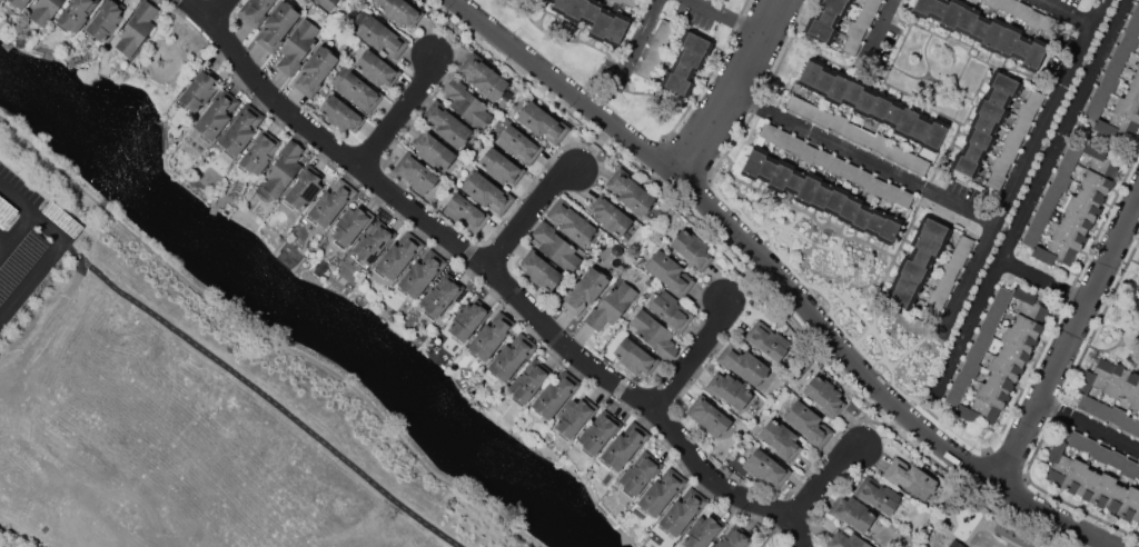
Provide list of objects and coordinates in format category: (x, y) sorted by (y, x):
building: (849, 0)
building: (983, 0)
building: (552, 1)
building: (616, 1)
building: (631, 2)
building: (327, 3)
building: (992, 3)
building: (18, 4)
road: (892, 4)
building: (1008, 4)
building: (561, 6)
building: (834, 6)
building: (871, 6)
building: (922, 7)
building: (938, 9)
building: (44, 10)
road: (219, 10)
building: (575, 10)
building: (1021, 10)
building: (255, 11)
building: (591, 11)
building: (400, 12)
building: (1136, 12)
road: (1068, 13)
building: (76, 14)
building: (952, 14)
road: (732, 17)
building: (826, 17)
building: (864, 18)
building: (1034, 19)
building: (106, 20)
building: (967, 20)
building: (602, 23)
building: (1048, 23)
building: (277, 27)
building: (1132, 27)
building: (137, 28)
building: (617, 29)
building: (980, 29)
building: (666, 30)
building: (820, 30)
building: (855, 31)
building: (993, 33)
building: (382, 37)
road: (643, 37)
building: (1007, 40)
building: (660, 42)
building: (1128, 42)
building: (696, 43)
building: (297, 47)
building: (1021, 47)
building: (1119, 54)
building: (654, 56)
building: (1033, 56)
building: (690, 58)
building: (377, 69)
building: (645, 69)
building: (1112, 69)
building: (1138, 69)
building: (315, 70)
building: (682, 70)
building: (810, 73)
building: (483, 77)
building: (823, 81)
building: (1135, 81)
building: (676, 83)
building: (1004, 83)
building: (1109, 83)
building: (838, 88)
building: (198, 91)
road: (736, 91)
building: (359, 92)
building: (853, 92)
building: (1132, 95)
building: (1100, 96)
building: (997, 97)
building: (1036, 98)
building: (864, 101)
building: (467, 103)
building: (794, 103)
building: (880, 107)
building: (1127, 109)
building: (991, 110)
building: (1027, 110)
building: (809, 111)
building: (1092, 111)
building: (893, 113)
building: (216, 115)
building: (341, 115)
road: (400, 115)
building: (823, 118)
building: (905, 121)
building: (543, 122)
building: (836, 122)
building: (446, 123)
building: (983, 123)
building: (1021, 126)
building: (1116, 126)
building: (920, 129)
building: (240, 131)
building: (769, 131)
building: (850, 131)
building: (934, 135)
building: (864, 138)
building: (1012, 138)
building: (782, 139)
building: (979, 139)
building: (879, 142)
building: (518, 145)
building: (795, 145)
building: (434, 150)
building: (892, 151)
building: (259, 152)
building: (972, 152)
building: (1008, 152)
building: (1072, 152)
building: (809, 153)
road: (869, 157)
building: (822, 158)
building: (905, 158)
building: (1099, 159)
building: (753, 162)
building: (835, 166)
building: (920, 166)
building: (965, 166)
building: (1000, 166)
building: (502, 167)
building: (1066, 167)
building: (767, 168)
building: (283, 169)
road: (1026, 169)
building: (850, 171)
building: (415, 173)
building: (781, 176)
building: (864, 178)
building: (994, 179)
building: (794, 181)
building: (1060, 181)
building: (1097, 181)
building: (876, 187)
building: (304, 188)
building: (808, 188)
building: (630, 191)
building: (891, 191)
building: (487, 192)
building: (1052, 193)
building: (821, 196)
building: (1090, 196)
road: (1033, 197)
building: (904, 198)
building: (835, 200)
building: (330, 203)
building: (849, 208)
building: (1046, 208)
building: (1081, 208)
road: (32, 212)
building: (466, 212)
road: (529, 213)
building: (610, 216)
building: (861, 217)
building: (569, 222)
building: (875, 222)
building: (1039, 222)
building: (1074, 222)
building: (351, 225)
building: (889, 229)
building: (933, 229)
road: (16, 232)
building: (1068, 237)
building: (1031, 238)
road: (3, 241)
building: (373, 241)
building: (928, 243)
building: (964, 243)
building: (556, 247)
building: (692, 249)
building: (1054, 253)
building: (398, 256)
building: (921, 257)
building: (957, 258)
building: (539, 270)
building: (913, 270)
building: (949, 271)
building: (422, 273)
building: (670, 273)
road: (499, 277)
road: (32, 279)
road: (784, 279)
road: (1047, 281)
building: (907, 284)
building: (944, 286)
building: (584, 291)
building: (440, 296)
building: (1003, 296)
building: (900, 298)
building: (937, 298)
building: (611, 306)
building: (1031, 306)
building: (671, 310)
building: (996, 311)
building: (931, 312)
building: (468, 320)
building: (988, 326)
building: (1027, 326)
road: (264, 335)
building: (654, 335)
building: (491, 336)
building: (1018, 339)
building: (766, 340)
building: (983, 340)
road: (1070, 345)
building: (974, 354)
road: (694, 355)
building: (1012, 355)
building: (632, 356)
building: (511, 357)
building: (742, 362)
building: (1003, 367)
building: (970, 368)
building: (1095, 377)
building: (529, 380)
building: (1116, 380)
building: (961, 381)
building: (999, 381)
building: (1129, 388)
building: (729, 389)
building: (554, 395)
building: (824, 395)
building: (953, 396)
building: (991, 396)
building: (1136, 399)
building: (1087, 404)
building: (977, 410)
building: (1101, 411)
building: (1116, 415)
building: (709, 416)
building: (575, 417)
building: (809, 424)
road: (880, 424)
building: (1128, 424)
road: (1090, 425)
building: (1137, 431)
building: (598, 432)
building: (1073, 438)
building: (781, 439)
building: (624, 446)
building: (1088, 446)
building: (1102, 454)
building: (1117, 460)
building: (1058, 463)
building: (766, 468)
building: (1129, 468)
building: (638, 474)
road: (824, 474)
building: (1137, 474)
building: (1073, 476)
building: (910, 478)
building: (1087, 484)
building: (1102, 489)
building: (661, 491)
building: (878, 495)
building: (1115, 497)
building: (1129, 503)
building: (682, 513)
building: (852, 514)
building: (1136, 515)
building: (703, 530)
building: (734, 537)
building: (845, 540)
building: (955, 544)

